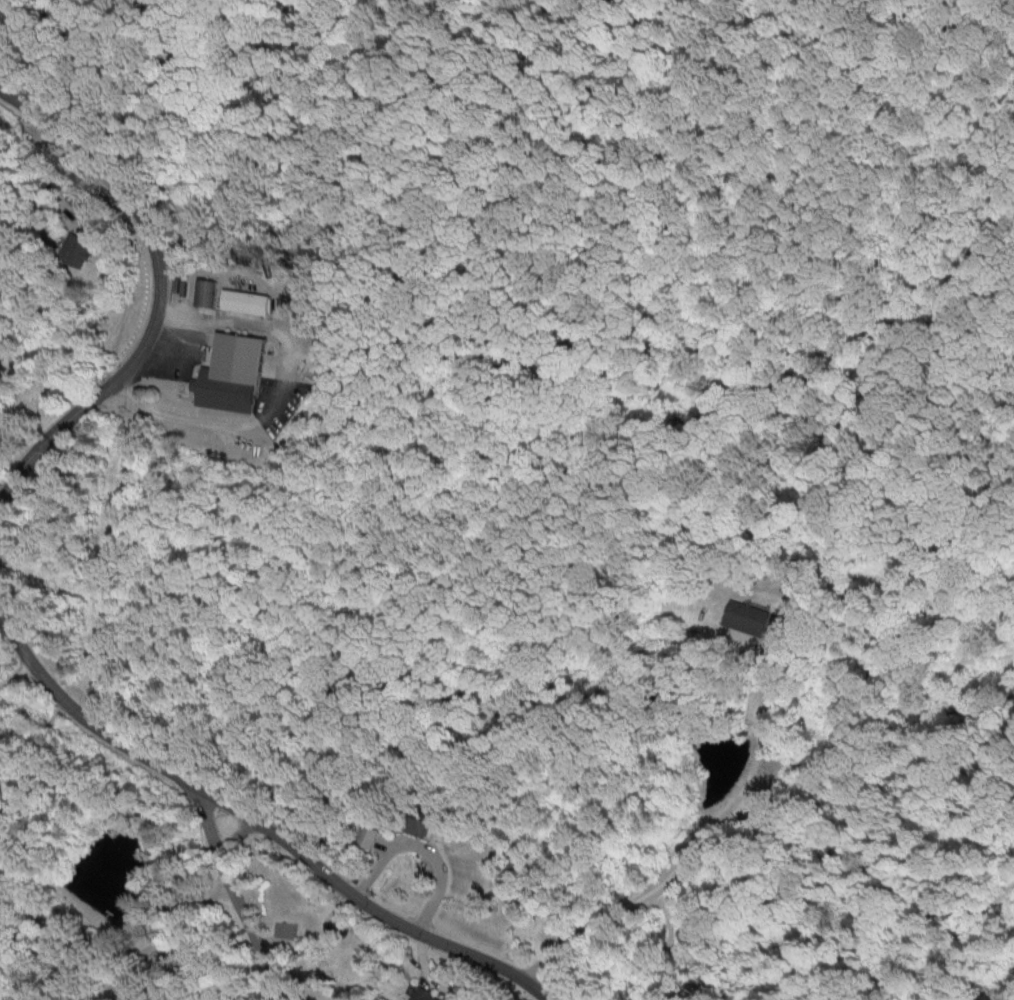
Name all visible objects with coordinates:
road: (161, 293)
building: (208, 295)
building: (249, 304)
building: (237, 376)
road: (2, 500)
building: (743, 617)
road: (15, 676)
road: (32, 759)
road: (260, 819)
building: (414, 825)
building: (366, 836)
road: (702, 845)
road: (234, 893)
road: (193, 904)
building: (419, 994)

